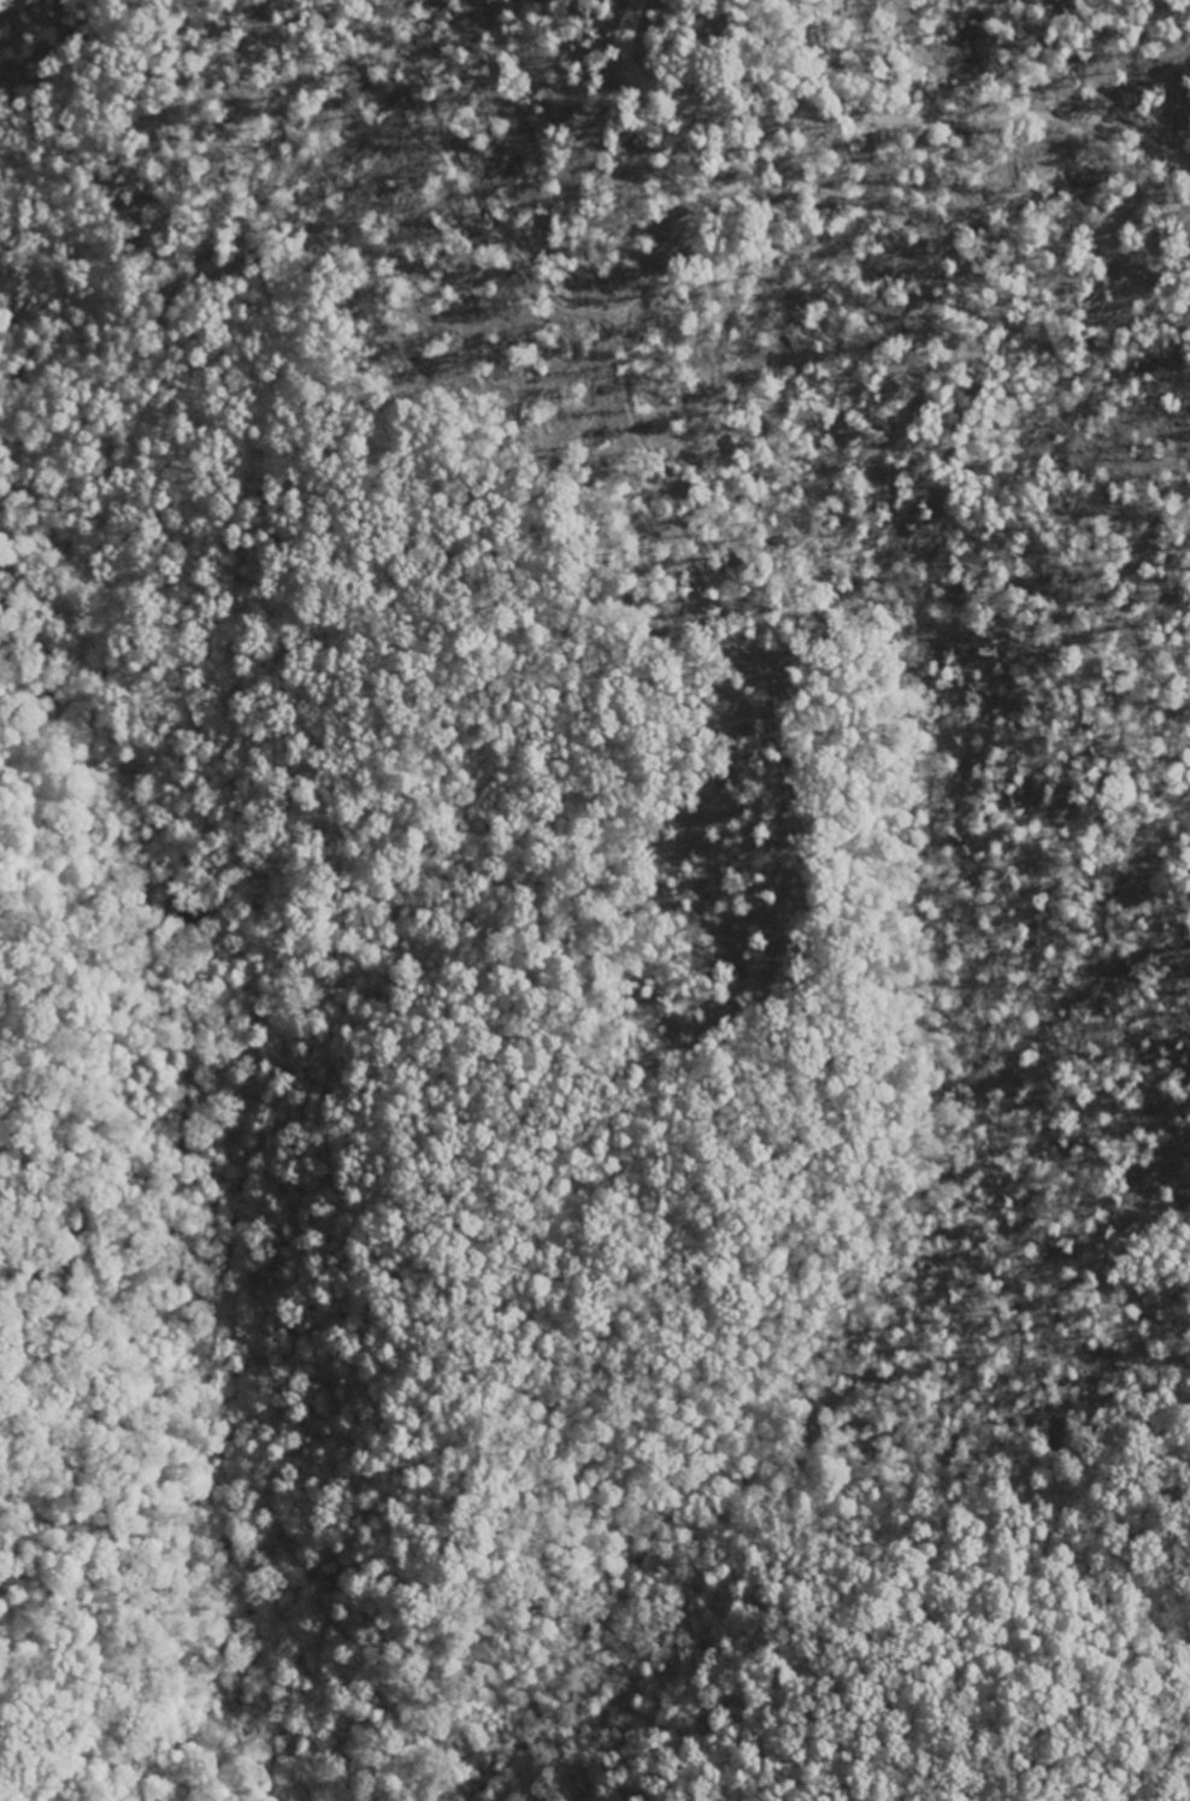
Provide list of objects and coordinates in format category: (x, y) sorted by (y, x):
road: (858, 179)

